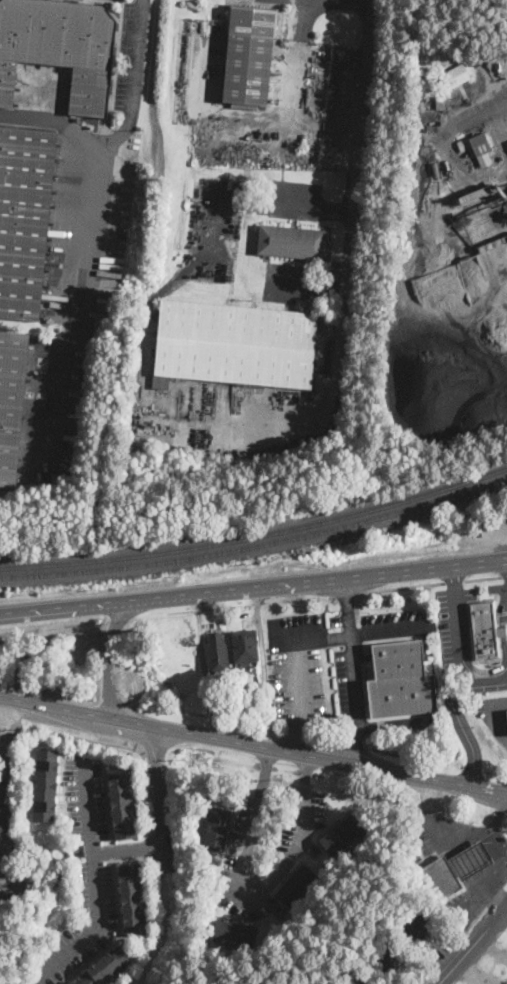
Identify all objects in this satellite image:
road: (359, 0)
building: (58, 48)
building: (248, 54)
parking lot: (131, 55)
building: (455, 76)
road: (293, 93)
building: (440, 102)
road: (476, 117)
road: (51, 124)
building: (480, 144)
building: (436, 169)
road: (358, 181)
road: (306, 209)
building: (24, 218)
road: (84, 224)
building: (292, 243)
building: (435, 287)
building: (236, 344)
building: (161, 382)
building: (11, 403)
building: (449, 427)
parking lot: (500, 527)
railway: (256, 534)
railway: (257, 544)
road: (506, 561)
road: (504, 574)
road: (482, 577)
road: (324, 579)
road: (453, 580)
road: (385, 588)
parking lot: (499, 590)
road: (346, 596)
road: (333, 597)
road: (70, 607)
road: (505, 614)
parking lot: (392, 623)
road: (503, 623)
building: (486, 630)
road: (503, 632)
road: (361, 634)
road: (465, 639)
building: (245, 646)
parking lot: (461, 646)
road: (107, 654)
building: (217, 654)
parking lot: (296, 664)
road: (501, 667)
road: (353, 671)
road: (460, 677)
building: (400, 679)
road: (483, 680)
parking lot: (350, 682)
road: (13, 698)
road: (295, 701)
road: (60, 707)
building: (506, 711)
road: (496, 717)
road: (122, 719)
road: (390, 723)
road: (125, 745)
road: (329, 760)
building: (45, 784)
road: (10, 792)
road: (160, 797)
building: (122, 802)
road: (499, 813)
road: (439, 823)
building: (216, 829)
building: (341, 836)
road: (129, 848)
building: (470, 860)
gas station: (470, 860)
road: (501, 863)
parking lot: (80, 879)
building: (438, 880)
road: (96, 882)
building: (296, 887)
road: (260, 891)
road: (498, 898)
building: (132, 899)
building: (416, 929)
building: (235, 933)
road: (473, 947)
building: (385, 958)
building: (106, 966)
building: (356, 980)
building: (73, 982)

